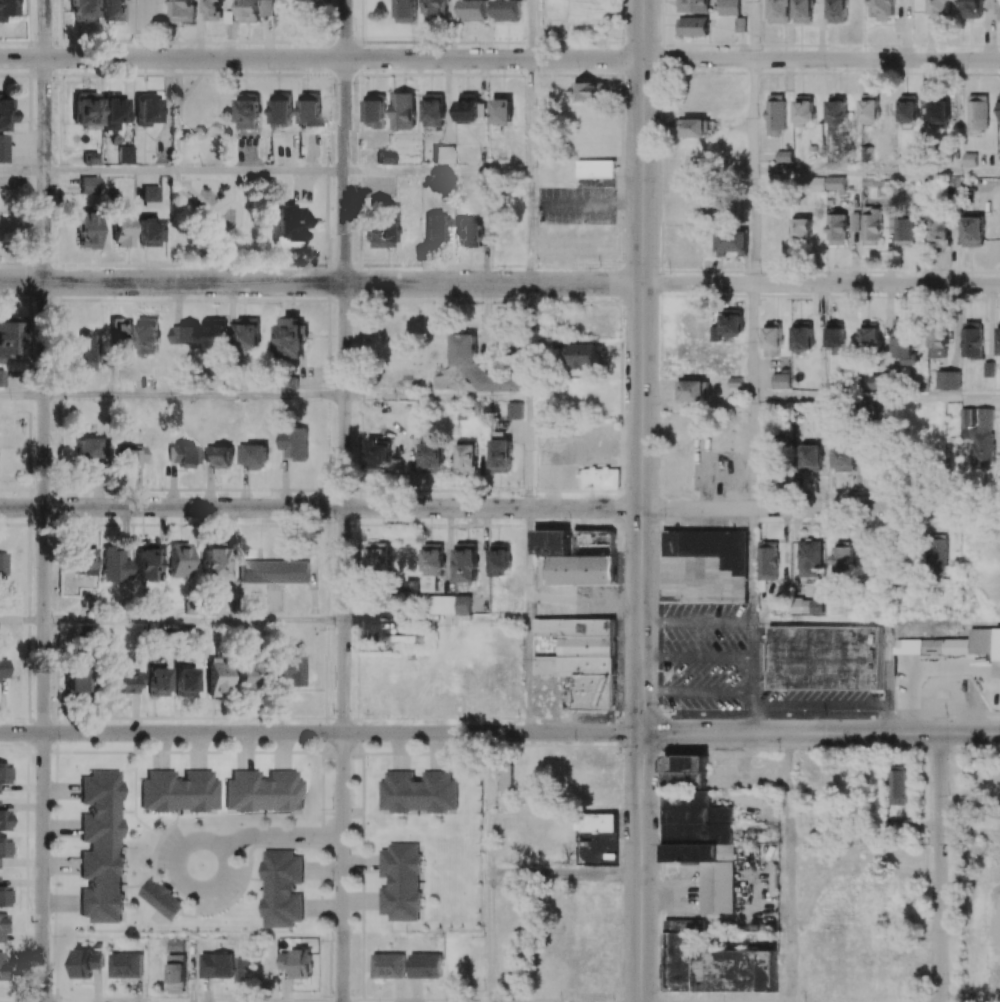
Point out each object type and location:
building: (693, 6)
building: (728, 7)
building: (7, 9)
building: (436, 9)
building: (939, 9)
building: (972, 9)
building: (81, 10)
building: (182, 10)
building: (212, 10)
building: (254, 10)
building: (474, 10)
building: (506, 10)
building: (881, 10)
building: (998, 10)
building: (112, 11)
building: (406, 11)
building: (779, 11)
building: (803, 11)
building: (837, 11)
building: (692, 26)
road: (529, 29)
road: (754, 30)
road: (321, 59)
road: (821, 60)
building: (589, 90)
building: (999, 106)
building: (468, 107)
building: (869, 107)
building: (908, 108)
building: (146, 109)
building: (281, 109)
building: (309, 109)
building: (836, 109)
building: (85, 110)
building: (433, 110)
building: (5, 111)
building: (112, 111)
building: (247, 111)
building: (374, 111)
building: (403, 111)
building: (501, 111)
building: (803, 111)
building: (939, 111)
building: (978, 113)
road: (529, 115)
building: (775, 115)
road: (753, 116)
building: (692, 127)
building: (3, 148)
building: (500, 153)
building: (125, 155)
building: (161, 155)
building: (443, 155)
building: (783, 156)
building: (384, 157)
building: (90, 159)
building: (969, 159)
building: (598, 170)
road: (23, 171)
road: (195, 172)
road: (437, 172)
road: (876, 172)
building: (835, 183)
building: (88, 185)
building: (150, 194)
building: (285, 223)
building: (381, 224)
building: (871, 226)
building: (410, 228)
building: (436, 228)
road: (529, 228)
road: (753, 228)
building: (122, 229)
building: (837, 229)
building: (87, 230)
building: (801, 230)
building: (939, 230)
building: (904, 231)
building: (973, 231)
building: (468, 232)
building: (148, 233)
building: (732, 242)
street lamp: (30, 265)
road: (321, 283)
road: (821, 285)
building: (732, 322)
building: (690, 324)
building: (120, 332)
building: (214, 332)
building: (247, 332)
building: (185, 333)
building: (715, 333)
building: (869, 335)
building: (998, 335)
building: (148, 336)
building: (8, 337)
building: (834, 337)
building: (801, 338)
building: (291, 339)
building: (772, 339)
building: (972, 339)
road: (528, 341)
road: (752, 341)
building: (904, 342)
building: (937, 342)
building: (84, 349)
building: (585, 356)
building: (988, 369)
building: (472, 370)
building: (1, 378)
building: (947, 380)
building: (780, 381)
building: (878, 382)
building: (694, 390)
road: (23, 395)
road: (195, 396)
road: (436, 397)
road: (876, 398)
building: (514, 410)
building: (979, 436)
building: (293, 443)
building: (90, 449)
road: (527, 453)
road: (752, 453)
building: (209, 454)
building: (253, 455)
building: (466, 455)
building: (182, 456)
building: (432, 456)
building: (501, 456)
building: (129, 457)
building: (222, 457)
building: (811, 457)
building: (377, 458)
building: (844, 458)
building: (869, 460)
building: (599, 478)
road: (45, 500)
road: (344, 501)
road: (642, 501)
road: (320, 508)
road: (820, 510)
street lamp: (57, 518)
building: (937, 554)
building: (577, 555)
building: (843, 556)
building: (376, 557)
building: (809, 558)
building: (83, 559)
building: (500, 559)
building: (179, 560)
building: (767, 560)
building: (147, 562)
building: (212, 562)
building: (466, 562)
building: (3, 564)
building: (115, 565)
road: (528, 565)
building: (431, 566)
building: (704, 566)
building: (274, 572)
building: (809, 603)
building: (462, 605)
road: (22, 619)
road: (194, 620)
road: (697, 620)
road: (436, 621)
road: (752, 622)
building: (966, 644)
road: (697, 657)
building: (825, 657)
building: (583, 658)
building: (4, 667)
building: (289, 669)
building: (217, 677)
road: (529, 678)
building: (245, 680)
building: (75, 681)
building: (126, 682)
building: (157, 682)
building: (184, 682)
road: (697, 690)
road: (321, 734)
traffic signals: (642, 734)
road: (820, 735)
building: (3, 773)
building: (504, 777)
building: (896, 785)
building: (178, 792)
building: (263, 792)
building: (418, 792)
road: (487, 805)
building: (3, 821)
building: (699, 830)
road: (267, 835)
building: (101, 847)
building: (3, 848)
road: (790, 868)
road: (939, 868)
road: (564, 876)
building: (400, 882)
building: (280, 888)
building: (3, 896)
building: (161, 899)
building: (3, 926)
road: (487, 939)
building: (175, 945)
building: (85, 962)
building: (296, 962)
building: (125, 965)
building: (216, 965)
building: (387, 965)
building: (425, 965)
building: (714, 966)
building: (3, 970)
building: (243, 972)
building: (175, 973)

